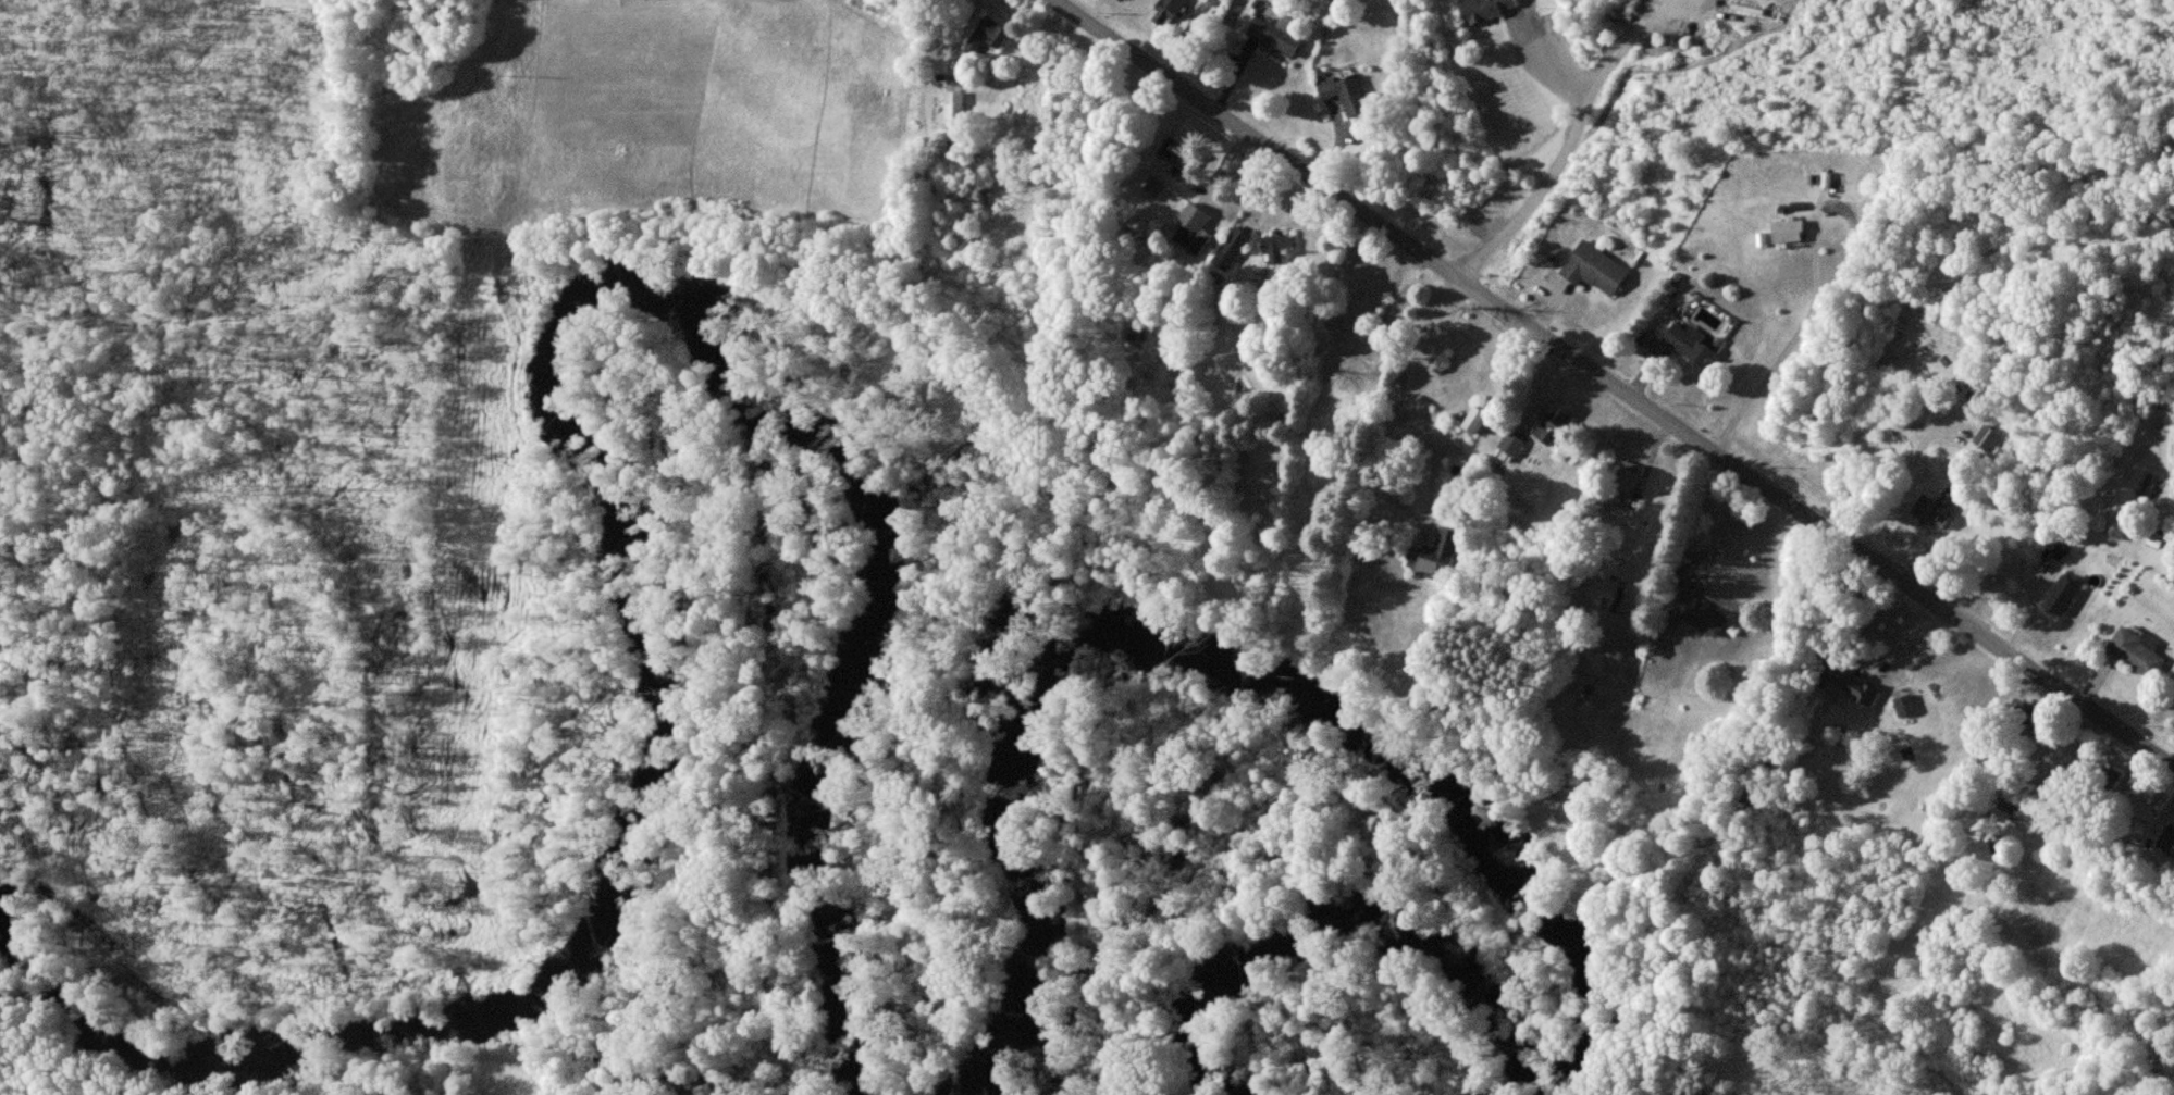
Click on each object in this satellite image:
building: (1212, 2)
building: (1484, 9)
road: (1650, 10)
road: (1675, 10)
building: (1166, 11)
building: (1276, 34)
building: (987, 35)
road: (1533, 74)
building: (1346, 94)
building: (954, 104)
building: (1174, 151)
road: (1562, 157)
building: (1153, 185)
building: (1191, 227)
building: (1788, 231)
building: (1276, 246)
building: (1231, 248)
building: (1594, 269)
road: (1807, 321)
building: (1679, 344)
road: (1416, 368)
road: (1615, 384)
building: (1553, 426)
building: (1986, 437)
building: (1509, 447)
river: (593, 475)
building: (1626, 480)
building: (1935, 508)
building: (1436, 553)
building: (2062, 594)
building: (1701, 614)
building: (2135, 652)
building: (1849, 681)
building: (1903, 705)
river: (1443, 788)
building: (2017, 809)
building: (2166, 842)

